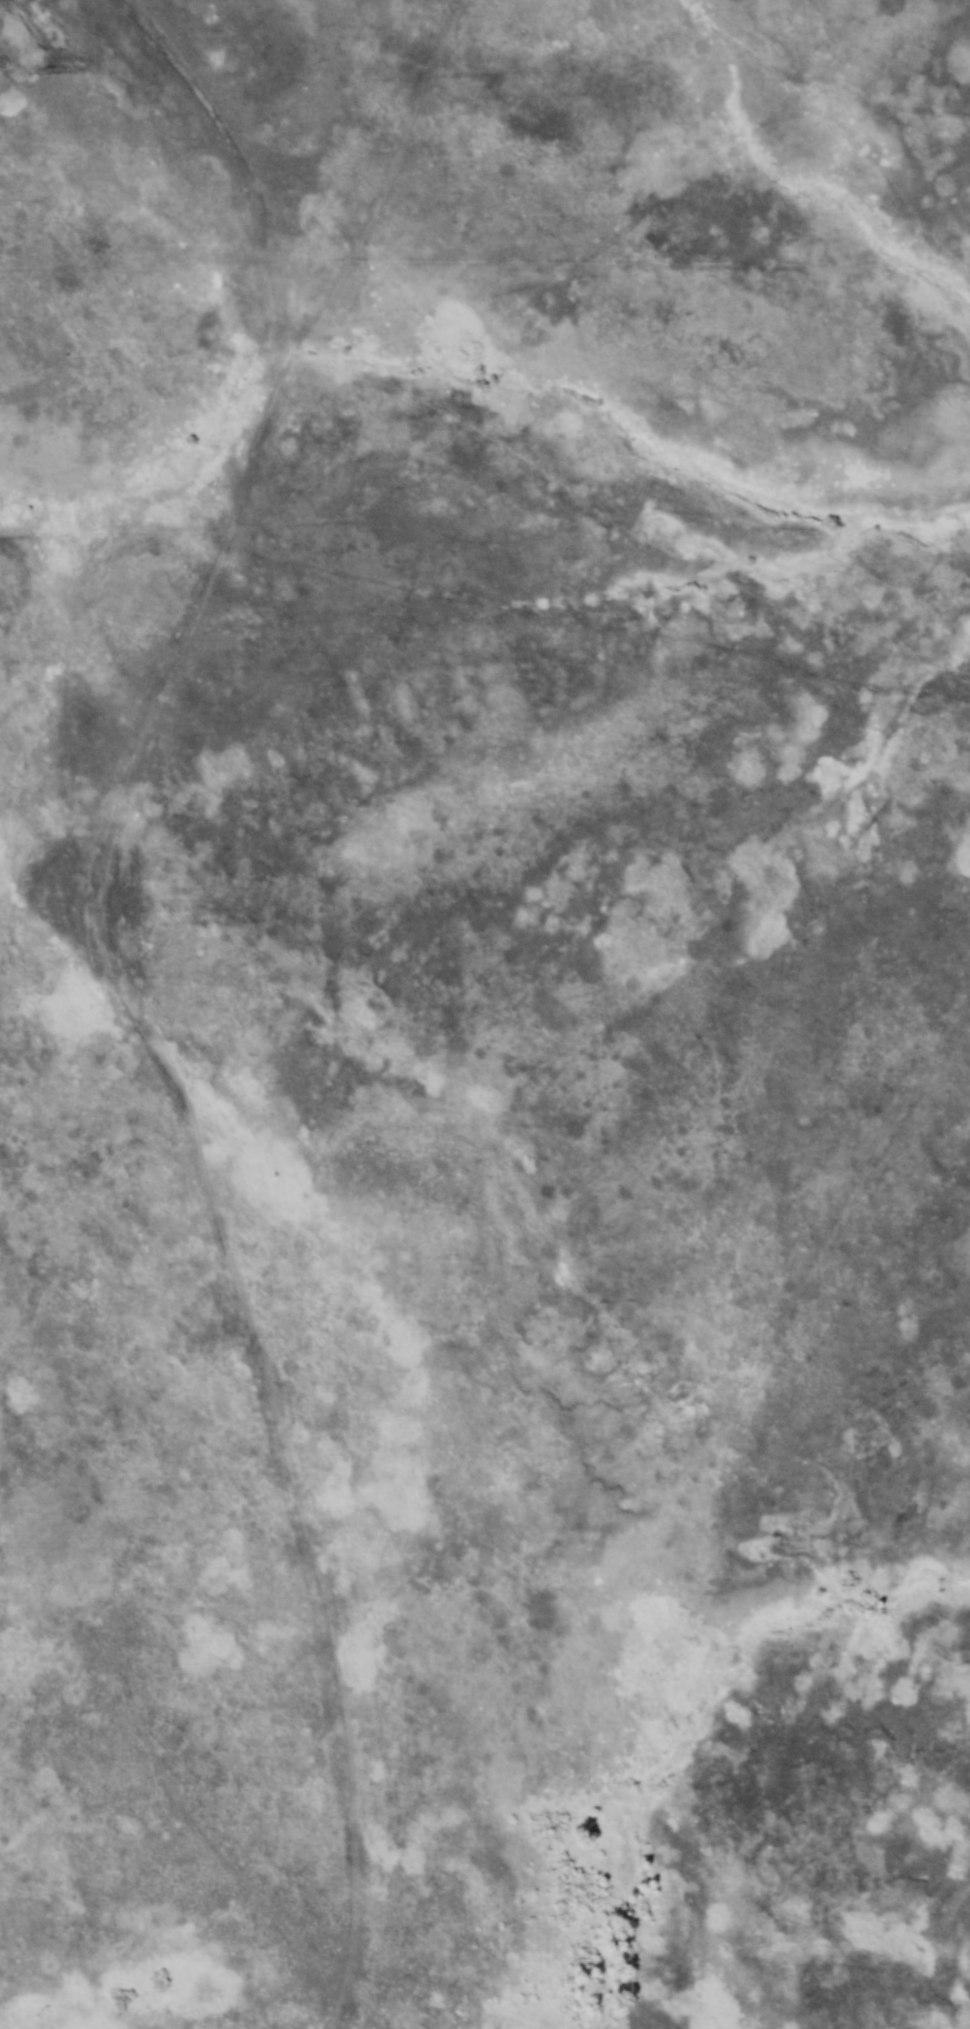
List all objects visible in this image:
road: (307, 346)
road: (119, 993)

